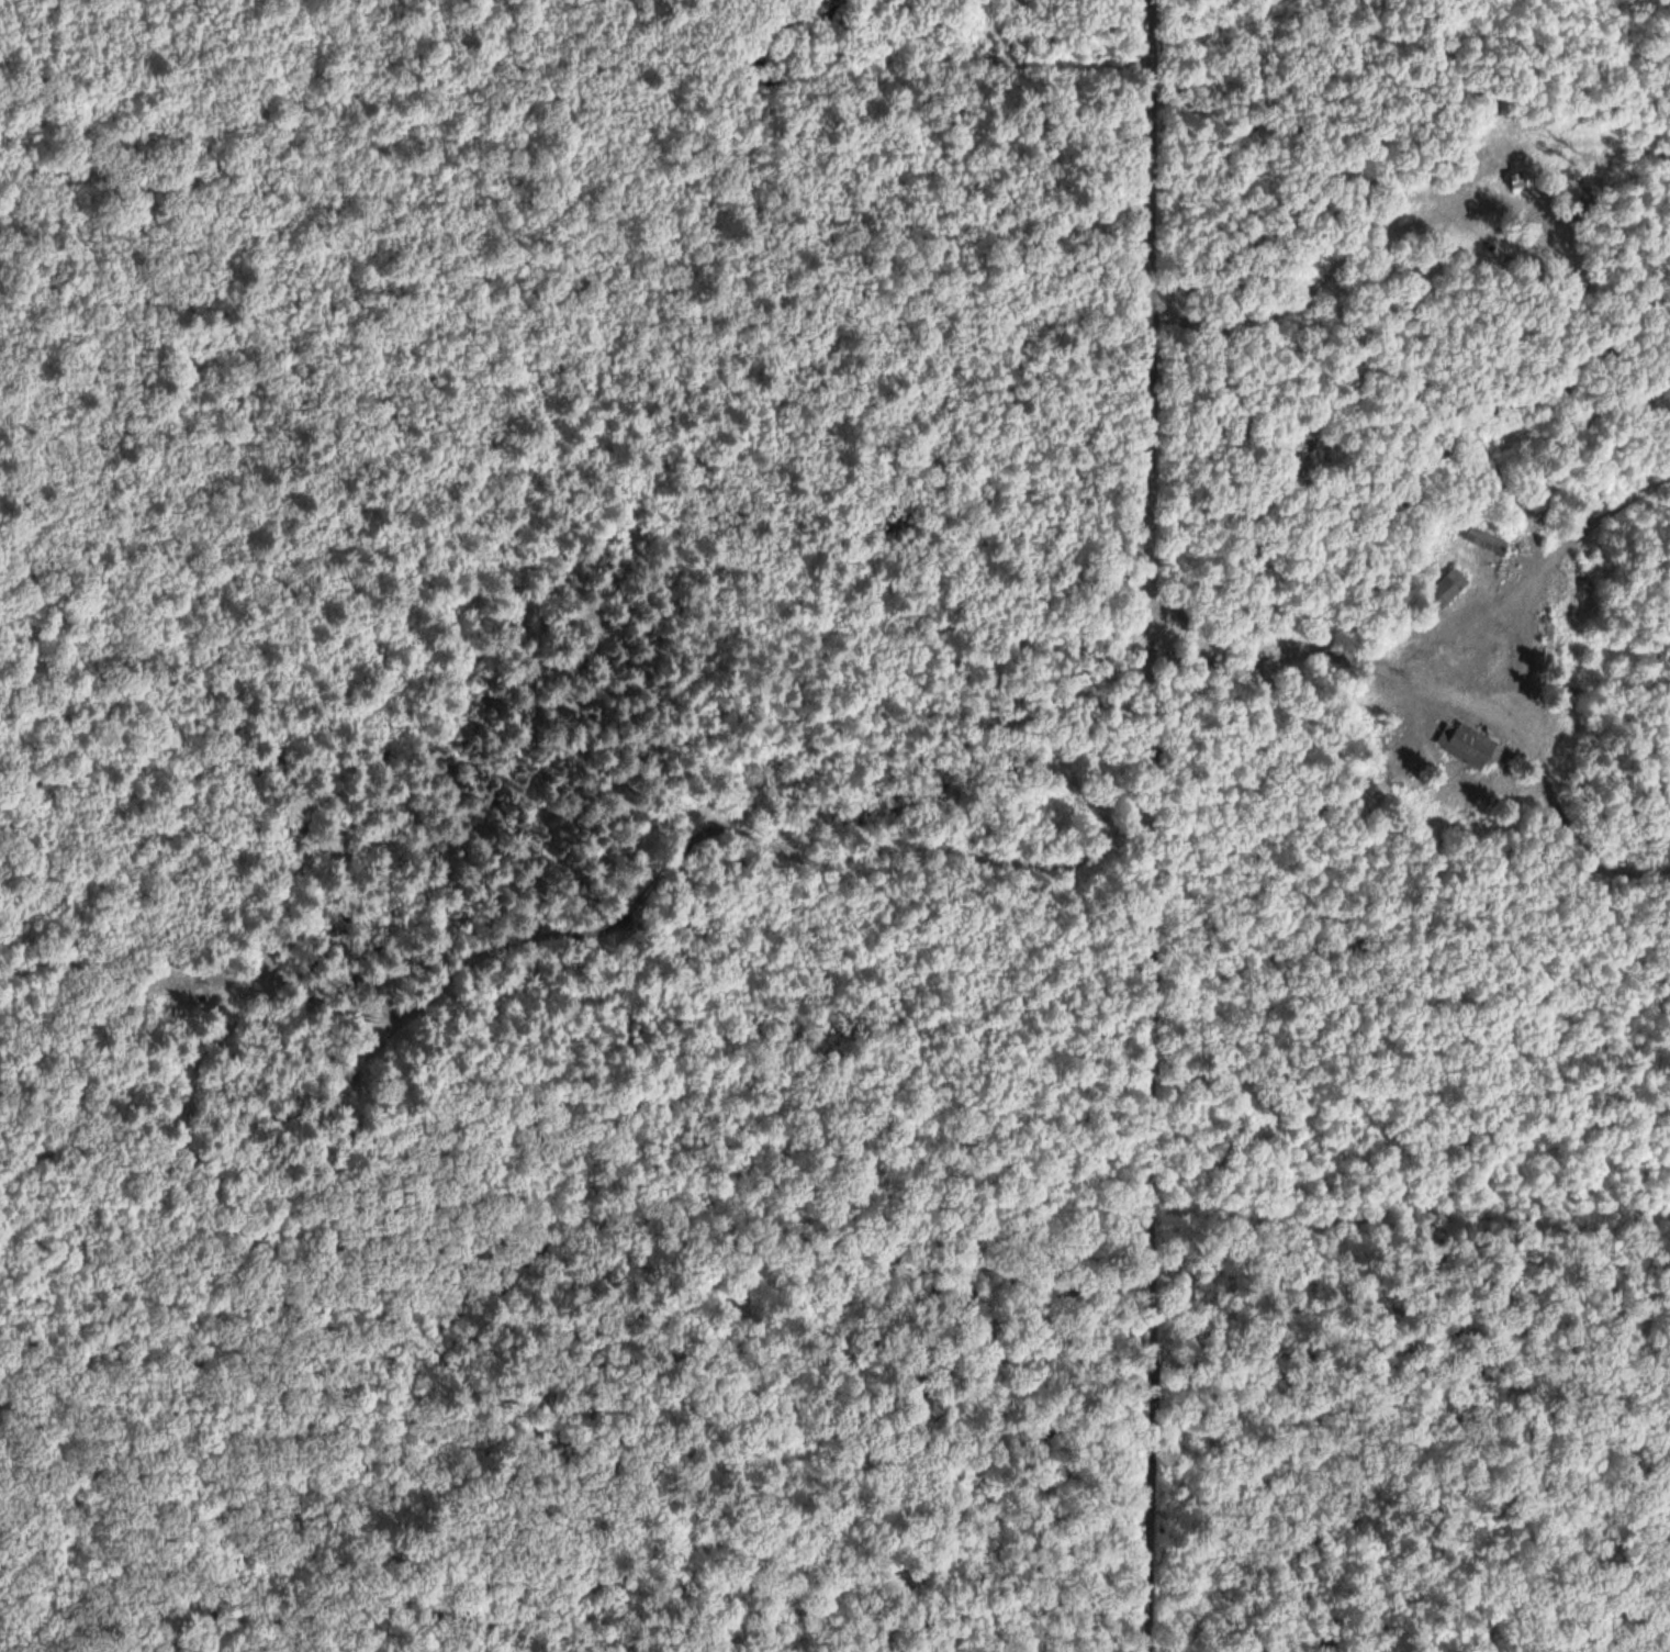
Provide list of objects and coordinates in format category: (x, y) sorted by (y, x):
building: (1468, 156)
building: (1515, 180)
building: (1443, 589)
road: (1336, 663)
building: (1469, 746)
road: (1147, 826)

